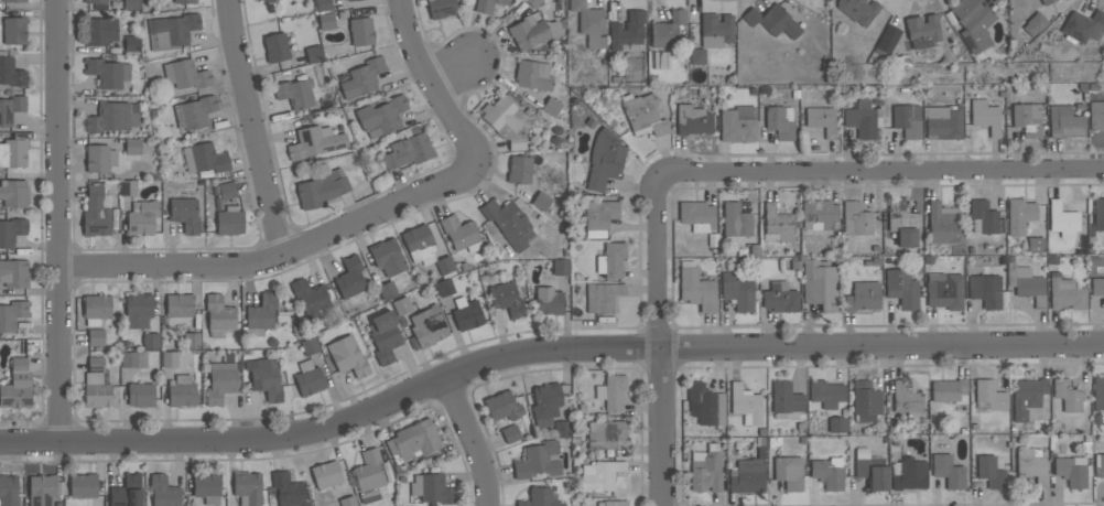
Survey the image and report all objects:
building: (14, 0)
building: (263, 0)
building: (340, 0)
building: (349, 0)
building: (95, 1)
building: (184, 1)
building: (1045, 1)
building: (533, 2)
building: (131, 4)
building: (322, 4)
building: (486, 6)
building: (441, 8)
building: (857, 10)
building: (772, 20)
building: (325, 21)
building: (973, 22)
building: (589, 23)
building: (1035, 23)
building: (1082, 25)
building: (667, 29)
building: (626, 30)
building: (715, 30)
building: (14, 31)
building: (100, 31)
building: (171, 31)
building: (360, 31)
building: (532, 31)
building: (922, 31)
building: (887, 37)
building: (131, 42)
building: (275, 47)
building: (313, 53)
building: (697, 56)
building: (10, 72)
building: (107, 72)
building: (185, 74)
road: (457, 75)
building: (533, 75)
building: (362, 77)
building: (295, 93)
building: (550, 106)
building: (11, 108)
building: (194, 111)
building: (643, 115)
building: (112, 116)
building: (381, 116)
building: (985, 116)
building: (1096, 116)
building: (863, 118)
building: (1027, 118)
building: (821, 119)
building: (907, 119)
building: (505, 120)
building: (692, 120)
building: (780, 121)
building: (1064, 121)
building: (943, 122)
building: (737, 123)
road: (253, 127)
building: (314, 142)
building: (132, 148)
building: (409, 150)
building: (13, 152)
building: (99, 158)
building: (204, 158)
building: (604, 159)
building: (520, 169)
road: (881, 169)
building: (127, 187)
building: (226, 190)
building: (320, 191)
building: (13, 192)
building: (540, 201)
building: (96, 212)
building: (184, 214)
building: (818, 214)
building: (1098, 214)
building: (696, 215)
building: (1018, 215)
building: (597, 216)
building: (141, 217)
building: (983, 217)
building: (855, 218)
building: (735, 219)
building: (1062, 219)
building: (229, 220)
road: (361, 220)
building: (507, 220)
road: (55, 223)
building: (902, 223)
building: (777, 224)
building: (942, 224)
building: (11, 232)
building: (461, 234)
building: (419, 244)
building: (1035, 245)
building: (956, 249)
building: (387, 257)
building: (611, 259)
building: (445, 266)
building: (560, 266)
building: (13, 273)
building: (349, 278)
building: (1026, 283)
building: (820, 284)
building: (444, 287)
building: (1097, 287)
building: (696, 288)
building: (901, 288)
building: (387, 290)
building: (944, 290)
building: (986, 290)
building: (737, 291)
building: (1064, 292)
building: (602, 297)
building: (780, 297)
building: (863, 297)
building: (311, 298)
building: (506, 299)
building: (548, 300)
building: (401, 305)
building: (96, 309)
building: (138, 310)
building: (178, 310)
building: (466, 313)
building: (12, 314)
building: (260, 314)
building: (218, 315)
building: (427, 326)
building: (95, 336)
building: (383, 336)
road: (660, 337)
building: (150, 340)
building: (191, 340)
building: (309, 345)
road: (543, 349)
building: (347, 356)
building: (133, 359)
building: (169, 359)
road: (559, 368)
building: (264, 378)
building: (309, 378)
building: (220, 381)
building: (97, 384)
building: (17, 386)
building: (949, 390)
building: (181, 391)
building: (611, 391)
building: (1097, 392)
building: (825, 394)
building: (141, 395)
building: (989, 395)
building: (1068, 395)
building: (1026, 396)
building: (786, 398)
building: (906, 400)
building: (865, 401)
building: (545, 402)
building: (705, 403)
building: (745, 403)
building: (502, 406)
building: (837, 424)
building: (561, 429)
building: (510, 433)
building: (605, 433)
road: (468, 440)
building: (413, 441)
building: (761, 446)
road: (275, 456)
building: (538, 460)
building: (1031, 464)
building: (1098, 465)
building: (870, 469)
building: (705, 470)
building: (1073, 470)
building: (948, 471)
building: (788, 472)
building: (827, 472)
building: (989, 472)
building: (325, 474)
building: (599, 474)
building: (908, 474)
building: (368, 475)
building: (747, 475)
building: (83, 485)
building: (207, 487)
building: (247, 487)
building: (432, 488)
building: (41, 489)
building: (288, 489)
building: (8, 491)
building: (126, 492)
building: (163, 492)
building: (540, 497)
building: (347, 500)
building: (611, 503)

